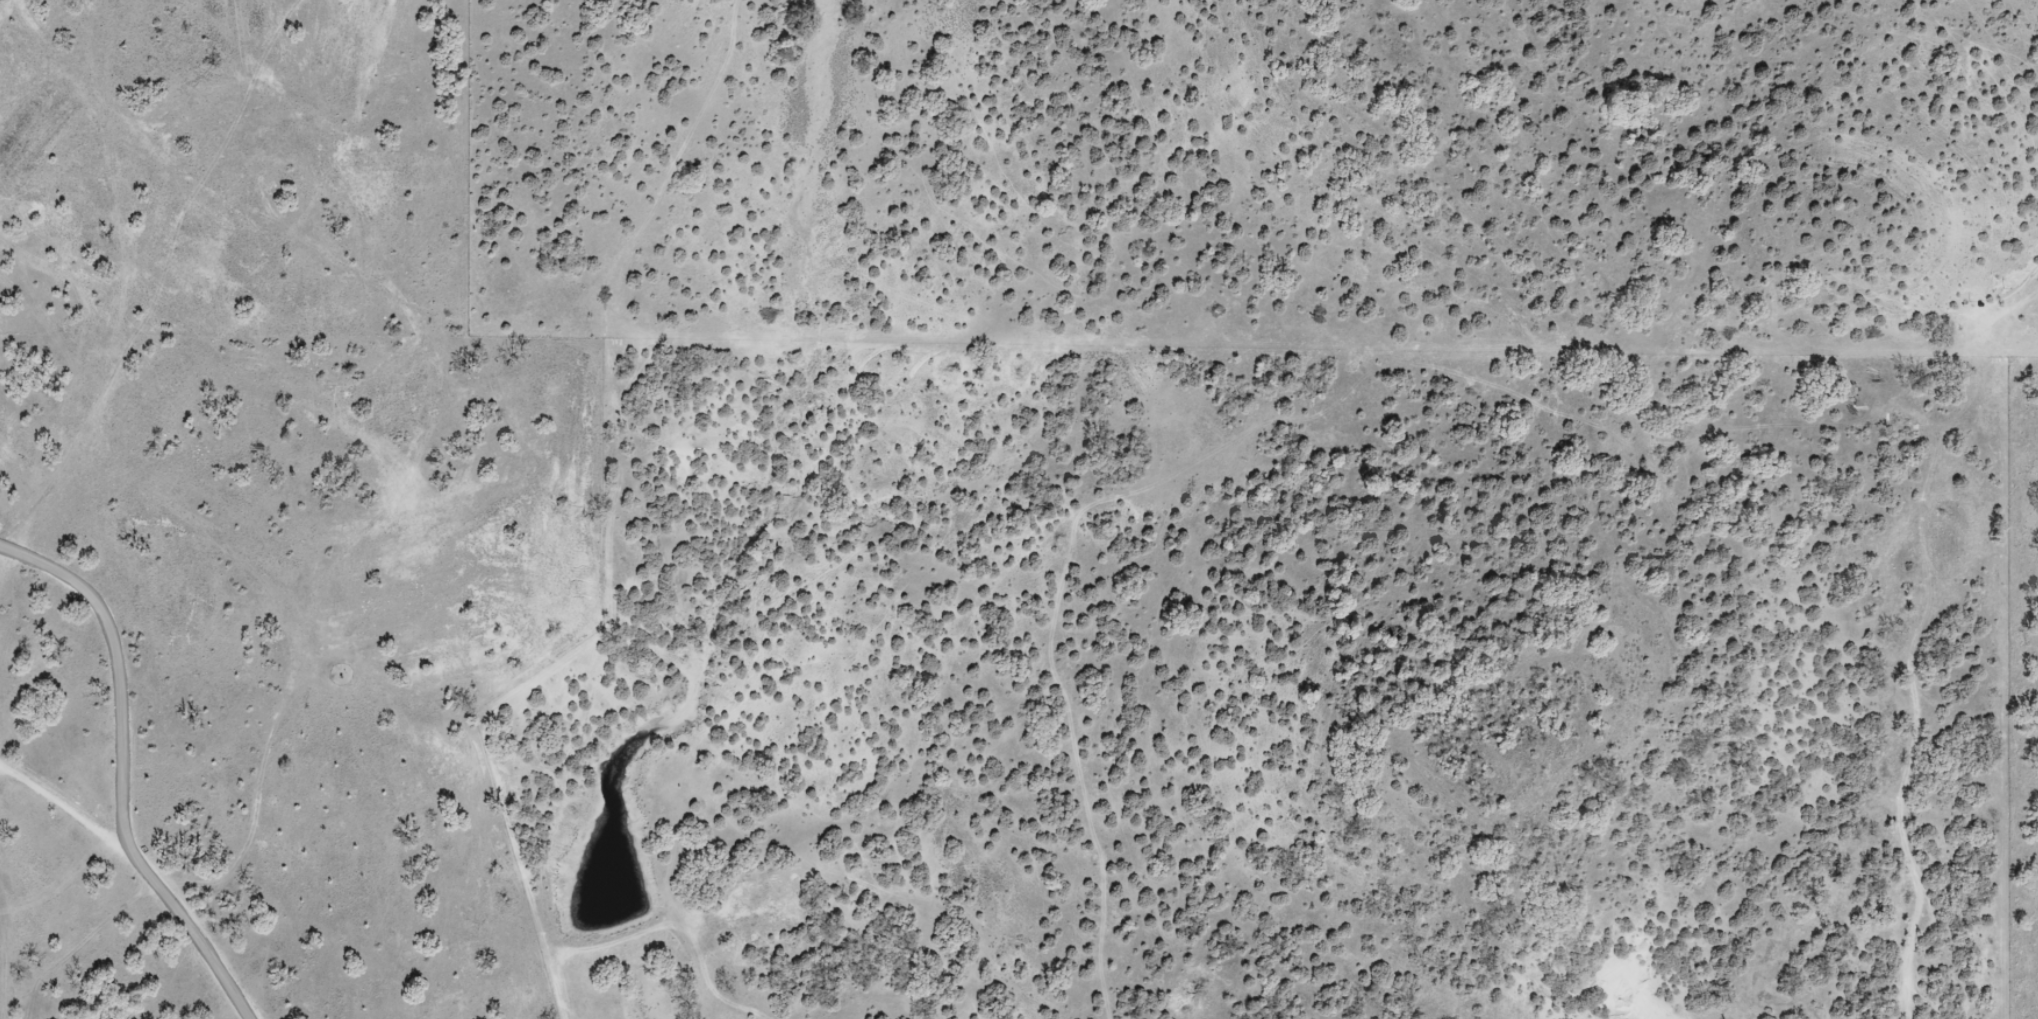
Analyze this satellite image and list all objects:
road: (131, 895)

